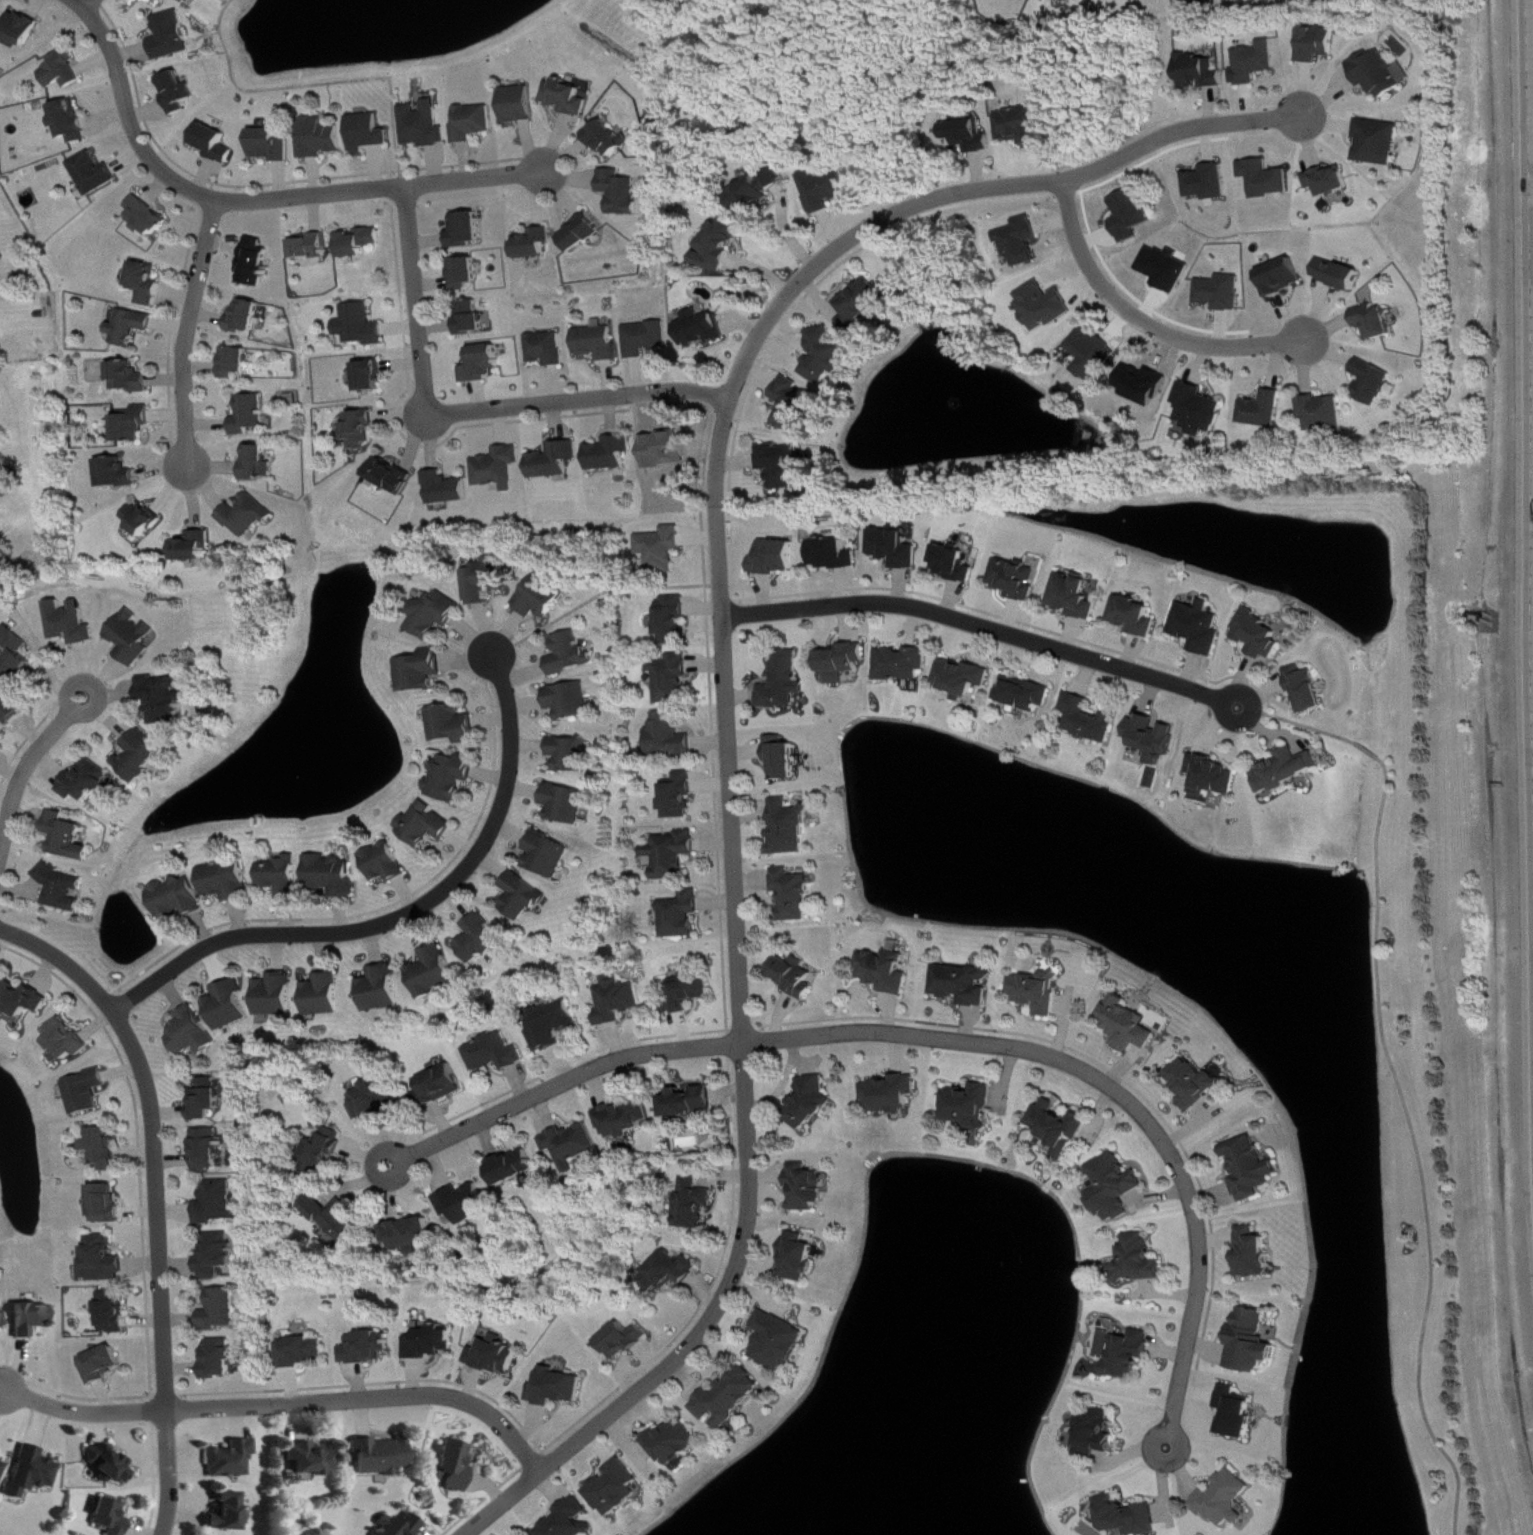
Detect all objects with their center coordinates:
building: (1058, 0)
building: (188, 1)
road: (89, 4)
building: (23, 29)
building: (173, 36)
building: (1319, 44)
building: (1255, 63)
building: (64, 71)
building: (1200, 72)
building: (1381, 74)
building: (180, 92)
building: (571, 97)
building: (522, 105)
building: (71, 121)
building: (476, 123)
building: (426, 126)
building: (1022, 126)
building: (370, 133)
building: (970, 137)
building: (323, 138)
building: (613, 139)
building: (1380, 142)
building: (217, 143)
building: (274, 145)
building: (96, 174)
building: (1268, 179)
building: (1331, 181)
building: (1209, 183)
building: (828, 190)
building: (625, 192)
building: (759, 193)
road: (255, 198)
building: (0, 203)
building: (1132, 216)
building: (150, 218)
building: (469, 230)
building: (586, 233)
building: (362, 242)
building: (1021, 242)
building: (537, 244)
building: (723, 245)
building: (313, 247)
building: (258, 263)
building: (468, 273)
building: (1341, 275)
building: (1284, 278)
building: (149, 284)
building: (1223, 293)
building: (866, 305)
building: (1045, 306)
building: (248, 317)
building: (475, 319)
road: (1135, 321)
building: (1377, 322)
building: (363, 326)
building: (133, 327)
building: (704, 329)
road: (188, 335)
building: (649, 338)
building: (601, 342)
building: (550, 349)
building: (827, 356)
building: (238, 363)
building: (485, 364)
building: (373, 377)
building: (132, 378)
building: (1375, 383)
building: (798, 406)
building: (1201, 410)
building: (1266, 410)
road: (465, 411)
building: (1325, 414)
building: (253, 415)
building: (136, 424)
building: (363, 429)
building: (613, 454)
building: (558, 461)
building: (261, 463)
building: (785, 466)
building: (501, 468)
building: (120, 474)
building: (393, 476)
building: (449, 489)
building: (250, 516)
building: (147, 520)
building: (196, 547)
building: (898, 548)
building: (663, 549)
building: (835, 554)
building: (778, 558)
building: (958, 565)
building: (1020, 580)
building: (487, 581)
building: (543, 597)
building: (1078, 597)
building: (436, 615)
building: (1139, 616)
building: (674, 621)
building: (73, 623)
road: (985, 624)
building: (1203, 628)
building: (1263, 635)
building: (135, 638)
building: (18, 655)
building: (572, 655)
building: (845, 662)
building: (905, 665)
building: (421, 672)
building: (965, 678)
building: (673, 679)
building: (785, 683)
road: (724, 688)
building: (1311, 690)
building: (1029, 694)
building: (166, 699)
building: (571, 701)
building: (11, 711)
building: (1090, 720)
building: (453, 725)
building: (672, 737)
building: (1156, 738)
building: (571, 754)
building: (142, 757)
building: (784, 759)
road: (26, 762)
building: (1290, 771)
building: (1215, 776)
building: (453, 777)
building: (89, 782)
building: (681, 798)
building: (567, 804)
building: (428, 825)
building: (791, 829)
building: (68, 837)
building: (675, 854)
building: (550, 855)
building: (387, 863)
building: (334, 875)
building: (283, 876)
building: (229, 881)
building: (63, 888)
building: (795, 894)
building: (180, 898)
building: (523, 898)
building: (683, 915)
road: (400, 917)
building: (482, 940)
building: (887, 972)
building: (434, 973)
building: (796, 977)
building: (965, 985)
building: (383, 990)
building: (693, 991)
building: (1040, 992)
building: (278, 996)
building: (325, 996)
building: (25, 999)
building: (618, 1000)
building: (231, 1006)
building: (1131, 1026)
building: (555, 1027)
building: (194, 1033)
road: (937, 1034)
building: (69, 1040)
building: (495, 1054)
road: (1399, 1076)
building: (1196, 1084)
building: (442, 1086)
building: (89, 1092)
building: (892, 1095)
building: (376, 1099)
building: (209, 1101)
building: (811, 1101)
building: (691, 1102)
building: (972, 1108)
building: (625, 1119)
building: (1061, 1127)
building: (573, 1144)
building: (105, 1150)
building: (210, 1150)
building: (325, 1152)
building: (514, 1168)
building: (1252, 1169)
building: (807, 1188)
building: (1117, 1188)
road: (155, 1197)
building: (220, 1203)
building: (466, 1204)
building: (108, 1205)
building: (695, 1205)
building: (337, 1219)
building: (412, 1235)
building: (1256, 1254)
building: (219, 1256)
building: (800, 1258)
building: (104, 1261)
building: (1139, 1261)
building: (672, 1273)
building: (222, 1310)
building: (114, 1312)
building: (33, 1319)
building: (2, 1324)
building: (625, 1341)
building: (779, 1342)
building: (432, 1343)
building: (1253, 1343)
building: (367, 1348)
building: (303, 1352)
building: (1132, 1354)
building: (496, 1356)
building: (221, 1360)
building: (103, 1365)
building: (558, 1388)
building: (730, 1399)
road: (285, 1404)
building: (1238, 1414)
building: (1099, 1434)
building: (675, 1443)
building: (383, 1457)
building: (313, 1459)
building: (232, 1460)
building: (111, 1466)
building: (456, 1466)
building: (3, 1470)
building: (34, 1472)
building: (618, 1489)
building: (1226, 1500)
building: (229, 1513)
building: (112, 1517)
building: (1130, 1517)
building: (571, 1521)
building: (401, 1526)

